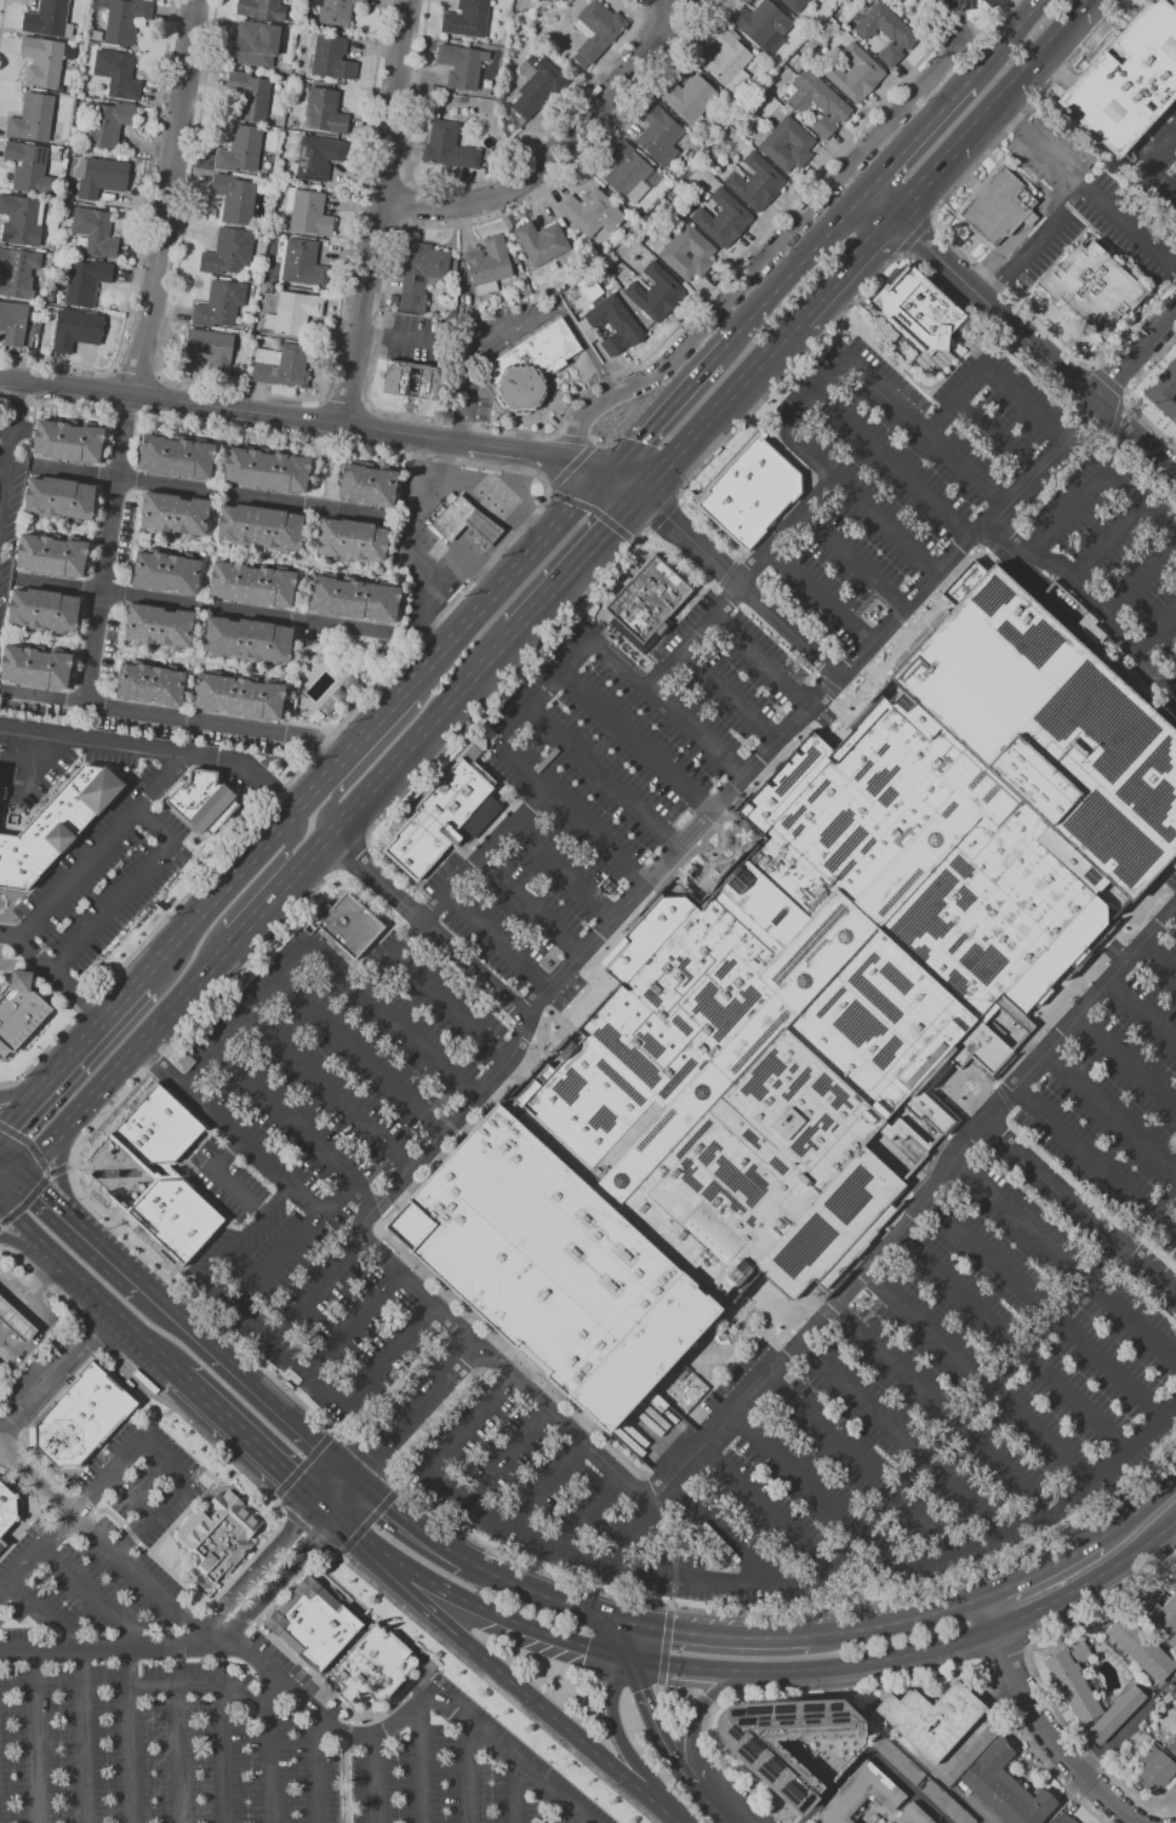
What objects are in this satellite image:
building: (543, 0)
building: (549, 0)
building: (795, 4)
road: (675, 7)
building: (262, 8)
road: (1012, 10)
building: (337, 11)
building: (50, 18)
building: (468, 18)
road: (2, 19)
building: (126, 19)
building: (761, 21)
road: (971, 23)
building: (598, 30)
building: (887, 32)
road: (1006, 41)
building: (256, 44)
building: (467, 44)
building: (331, 57)
building: (729, 58)
building: (46, 61)
building: (462, 64)
road: (1031, 65)
road: (1056, 68)
building: (119, 73)
building: (301, 73)
building: (856, 73)
building: (1128, 79)
building: (536, 87)
building: (251, 95)
building: (690, 96)
building: (820, 102)
building: (325, 110)
road: (1104, 110)
building: (34, 118)
building: (109, 124)
building: (660, 133)
road: (920, 137)
building: (773, 142)
road: (1146, 146)
building: (449, 147)
road: (559, 147)
building: (241, 149)
building: (318, 156)
road: (1148, 161)
road: (942, 163)
building: (29, 166)
building: (628, 171)
building: (102, 176)
road: (479, 180)
building: (757, 182)
road: (1085, 188)
road: (169, 198)
building: (236, 198)
road: (404, 203)
road: (881, 203)
road: (904, 204)
building: (999, 206)
building: (67, 209)
building: (308, 211)
building: (592, 211)
road: (377, 213)
building: (22, 218)
building: (724, 218)
building: (95, 232)
road: (915, 234)
road: (1039, 237)
road: (948, 239)
road: (139, 240)
building: (542, 241)
building: (674, 251)
building: (230, 252)
building: (516, 258)
road: (765, 258)
road: (917, 258)
building: (303, 263)
road: (801, 263)
building: (490, 264)
road: (847, 266)
building: (18, 272)
building: (421, 274)
building: (87, 281)
building: (1092, 286)
building: (656, 292)
building: (221, 303)
building: (293, 312)
building: (246, 318)
building: (923, 318)
building: (13, 323)
building: (616, 324)
road: (518, 326)
building: (886, 329)
building: (78, 330)
road: (415, 338)
road: (1034, 344)
road: (725, 348)
building: (212, 351)
road: (1135, 354)
building: (532, 365)
building: (281, 366)
road: (137, 370)
road: (991, 377)
building: (432, 378)
road: (1079, 381)
road: (1111, 382)
road: (252, 391)
building: (1164, 391)
road: (1129, 394)
road: (818, 398)
road: (346, 400)
road: (720, 405)
road: (1115, 414)
road: (662, 415)
road: (284, 417)
road: (439, 417)
road: (4, 423)
road: (6, 434)
building: (69, 440)
traffic signals: (640, 440)
road: (993, 440)
building: (178, 455)
traffic signals: (569, 462)
road: (589, 465)
road: (1040, 465)
building: (270, 468)
road: (896, 469)
road: (1096, 479)
road: (624, 482)
building: (366, 484)
road: (209, 490)
building: (752, 490)
building: (61, 499)
building: (175, 514)
building: (453, 515)
road: (663, 515)
traffic signals: (668, 519)
building: (262, 526)
building: (483, 526)
gas station: (483, 526)
traffic signals: (610, 526)
road: (650, 537)
building: (350, 540)
road: (1103, 541)
road: (405, 542)
road: (105, 547)
building: (53, 554)
road: (577, 560)
road: (855, 564)
building: (167, 571)
road: (1142, 577)
road: (740, 582)
building: (253, 583)
road: (740, 585)
road: (469, 586)
road: (731, 597)
building: (353, 598)
road: (820, 600)
building: (647, 603)
road: (204, 604)
building: (45, 610)
building: (159, 626)
road: (1154, 636)
building: (250, 638)
road: (781, 639)
road: (532, 653)
road: (760, 661)
building: (38, 666)
building: (150, 683)
road: (830, 685)
road: (1170, 690)
road: (541, 693)
building: (239, 694)
road: (729, 697)
road: (175, 717)
road: (375, 724)
road: (634, 744)
road: (156, 747)
road: (371, 757)
road: (601, 777)
road: (164, 781)
building: (204, 801)
building: (444, 817)
building: (56, 825)
parking lot: (613, 831)
road: (367, 839)
road: (353, 855)
road: (341, 873)
road: (561, 873)
road: (78, 875)
road: (256, 887)
road: (452, 889)
road: (126, 891)
parking lot: (108, 894)
road: (269, 900)
road: (530, 907)
road: (1174, 916)
building: (348, 924)
road: (428, 925)
road: (419, 936)
road: (497, 942)
road: (373, 946)
road: (1159, 963)
road: (55, 970)
road: (472, 985)
building: (810, 1004)
road: (452, 1010)
building: (19, 1012)
road: (1143, 1012)
road: (240, 1021)
road: (525, 1030)
road: (69, 1055)
road: (361, 1055)
road: (1128, 1061)
road: (32, 1086)
road: (329, 1092)
road: (1111, 1115)
building: (159, 1124)
road: (293, 1130)
road: (85, 1134)
road: (30, 1143)
road: (12, 1161)
road: (1094, 1166)
road: (62, 1167)
road: (52, 1170)
traffic signals: (24, 1172)
road: (232, 1177)
road: (12, 1184)
road: (45, 1189)
traffic signals: (0, 1197)
road: (29, 1200)
road: (1163, 1208)
road: (1079, 1213)
building: (176, 1217)
road: (1017, 1221)
road: (25, 1223)
road: (360, 1223)
road: (0, 1224)
road: (0, 1225)
road: (25, 1240)
road: (109, 1248)
road: (278, 1263)
road: (52, 1287)
road: (318, 1291)
road: (108, 1301)
road: (1044, 1306)
road: (183, 1316)
building: (16, 1320)
road: (1130, 1322)
road: (354, 1324)
road: (278, 1345)
road: (1011, 1345)
road: (173, 1365)
road: (58, 1372)
parking lot: (907, 1374)
road: (975, 1377)
road: (267, 1394)
road: (410, 1408)
road: (936, 1411)
building: (81, 1418)
road: (1, 1429)
road: (251, 1439)
road: (898, 1439)
building: (1010, 1454)
traffic signals: (369, 1457)
road: (338, 1458)
road: (503, 1458)
road: (159, 1460)
road: (235, 1463)
road: (303, 1465)
traffic signals: (281, 1466)
road: (856, 1466)
building: (981, 1477)
road: (541, 1487)
road: (812, 1492)
road: (129, 1498)
traffic signals: (390, 1505)
road: (758, 1506)
road: (1047, 1508)
building: (8, 1509)
road: (1137, 1511)
road: (582, 1514)
road: (284, 1515)
road: (409, 1520)
road: (369, 1522)
road: (349, 1528)
road: (307, 1529)
road: (617, 1536)
building: (218, 1538)
road: (725, 1540)
traffic signals: (315, 1542)
road: (108, 1545)
road: (35, 1550)
road: (274, 1550)
road: (329, 1551)
road: (295, 1563)
road: (1043, 1571)
road: (954, 1580)
building: (1174, 1584)
road: (673, 1594)
road: (789, 1595)
road: (87, 1596)
road: (559, 1601)
road: (493, 1611)
road: (772, 1613)
road: (232, 1614)
road: (41, 1618)
building: (1161, 1618)
traffic signals: (618, 1620)
road: (897, 1622)
building: (314, 1623)
traffic signals: (653, 1629)
road: (731, 1636)
road: (667, 1645)
road: (451, 1650)
road: (109, 1652)
road: (909, 1653)
traffic signals: (613, 1654)
road: (1009, 1657)
traffic signals: (647, 1660)
building: (375, 1668)
road: (1039, 1676)
building: (1067, 1677)
road: (512, 1679)
road: (875, 1688)
road: (679, 1690)
parking lot: (206, 1692)
road: (266, 1694)
road: (706, 1700)
road: (249, 1704)
road: (714, 1709)
road: (651, 1711)
road: (613, 1713)
road: (698, 1716)
road: (406, 1717)
building: (932, 1719)
road: (1041, 1721)
road: (1129, 1727)
road: (347, 1732)
road: (129, 1737)
road: (35, 1738)
road: (79, 1738)
building: (1172, 1745)
road: (870, 1754)
road: (172, 1755)
road: (218, 1756)
building: (897, 1759)
building: (772, 1765)
road: (416, 1767)
building: (1155, 1770)
road: (319, 1772)
road: (468, 1773)
road: (372, 1779)
road: (344, 1782)
building: (1005, 1787)
road: (514, 1793)
building: (860, 1795)
road: (714, 1804)
building: (947, 1804)
road: (667, 1810)
road: (563, 1812)
building: (914, 1815)
building: (1064, 1818)

